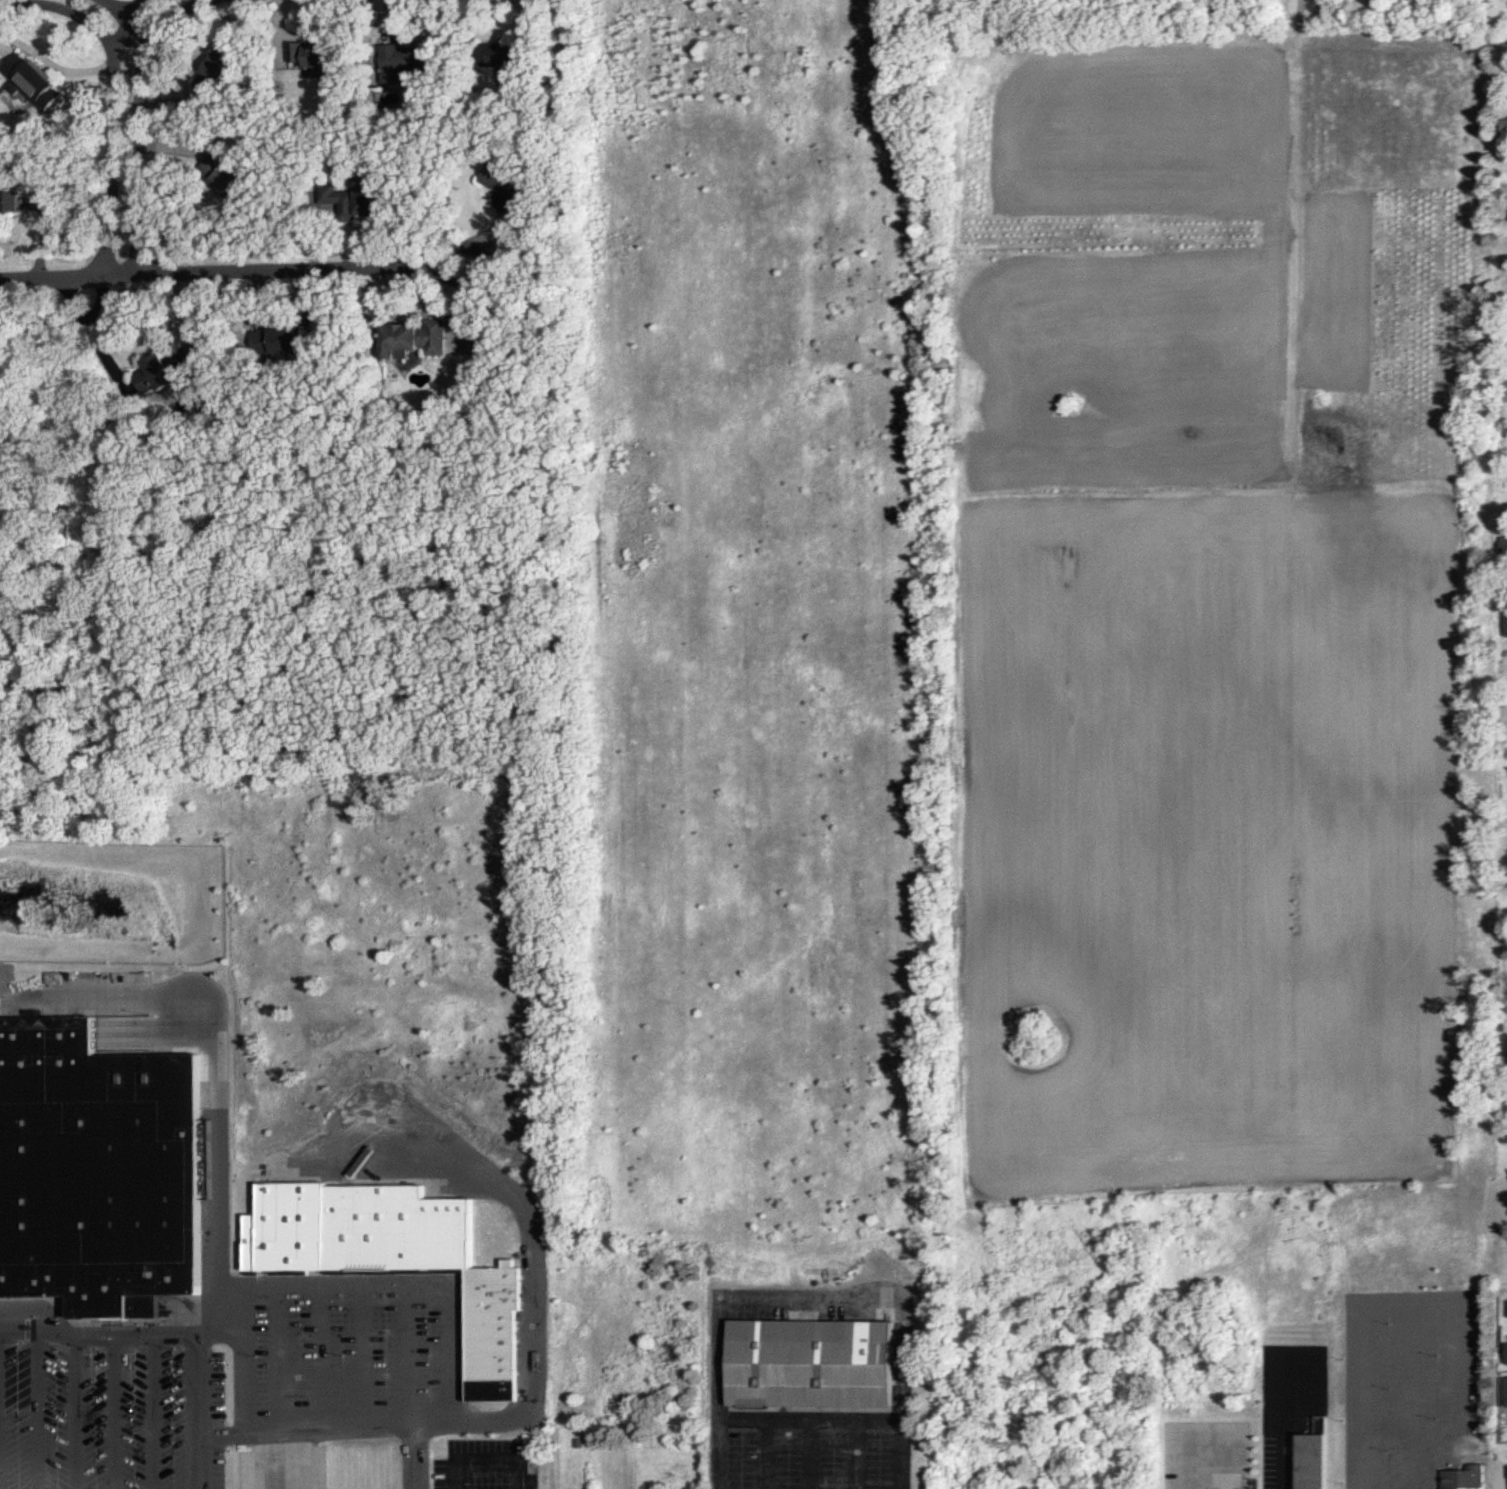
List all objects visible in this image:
road: (157, 4)
road: (101, 9)
road: (146, 14)
building: (506, 53)
building: (312, 56)
building: (399, 60)
building: (224, 64)
building: (211, 67)
building: (32, 81)
building: (1506, 126)
road: (116, 145)
building: (228, 172)
building: (504, 185)
building: (362, 200)
building: (8, 205)
road: (217, 265)
building: (279, 338)
building: (416, 338)
building: (155, 373)
building: (1504, 544)
building: (1506, 616)
road: (157, 999)
building: (97, 1172)
building: (388, 1254)
road: (398, 1281)
road: (214, 1299)
road: (1387, 1313)
road: (533, 1324)
road: (119, 1332)
road: (1454, 1348)
road: (361, 1353)
building: (1505, 1353)
road: (317, 1354)
road: (276, 1356)
building: (804, 1364)
road: (408, 1385)
building: (1506, 1392)
road: (32, 1410)
road: (72, 1410)
road: (112, 1410)
road: (153, 1410)
road: (829, 1421)
road: (256, 1432)
road: (1284, 1442)
road: (803, 1455)
road: (856, 1455)
building: (1308, 1461)
building: (1463, 1478)
road: (1201, 1485)

